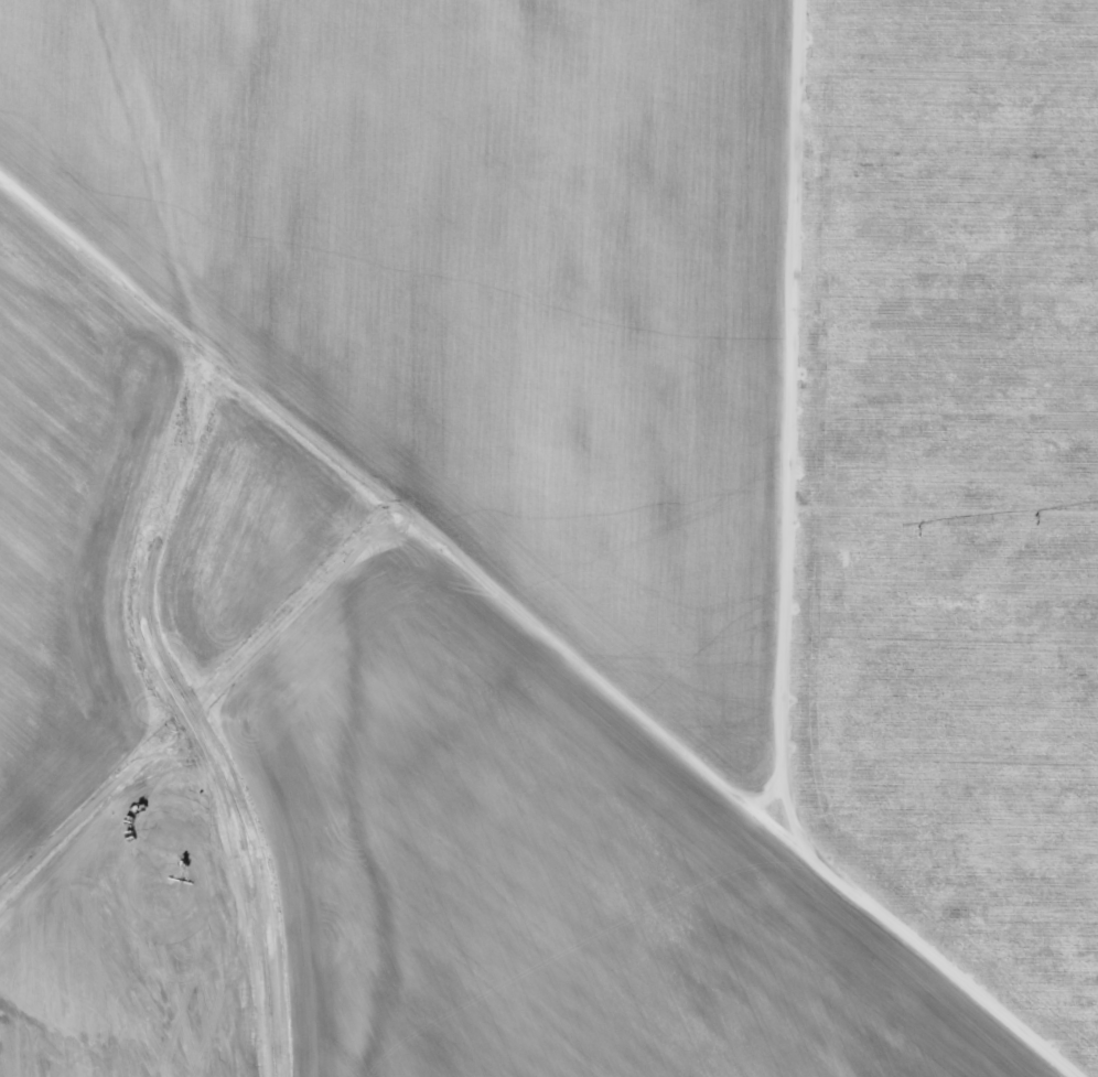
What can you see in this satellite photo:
road: (797, 388)
road: (387, 480)
road: (924, 930)

